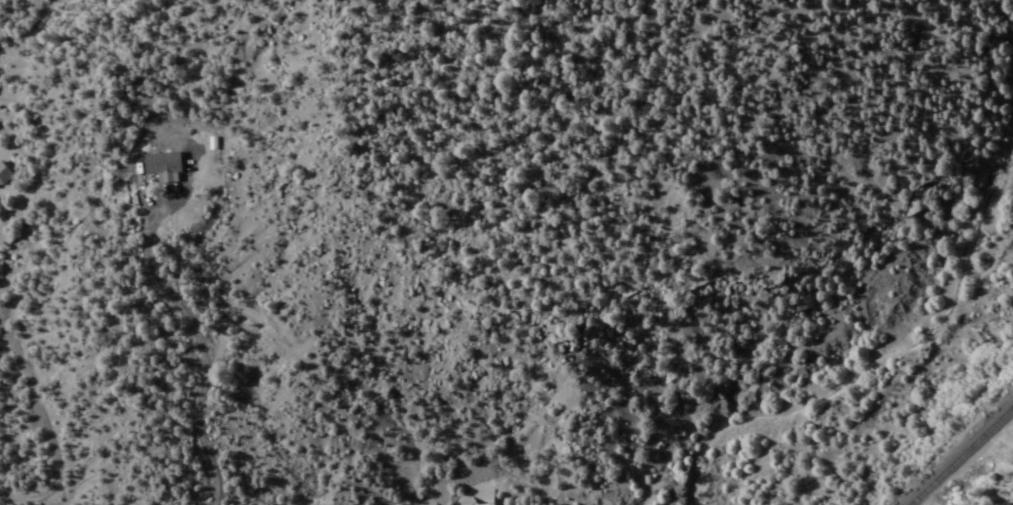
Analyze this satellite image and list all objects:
building: (3, 176)
railway: (961, 455)
road: (465, 497)

